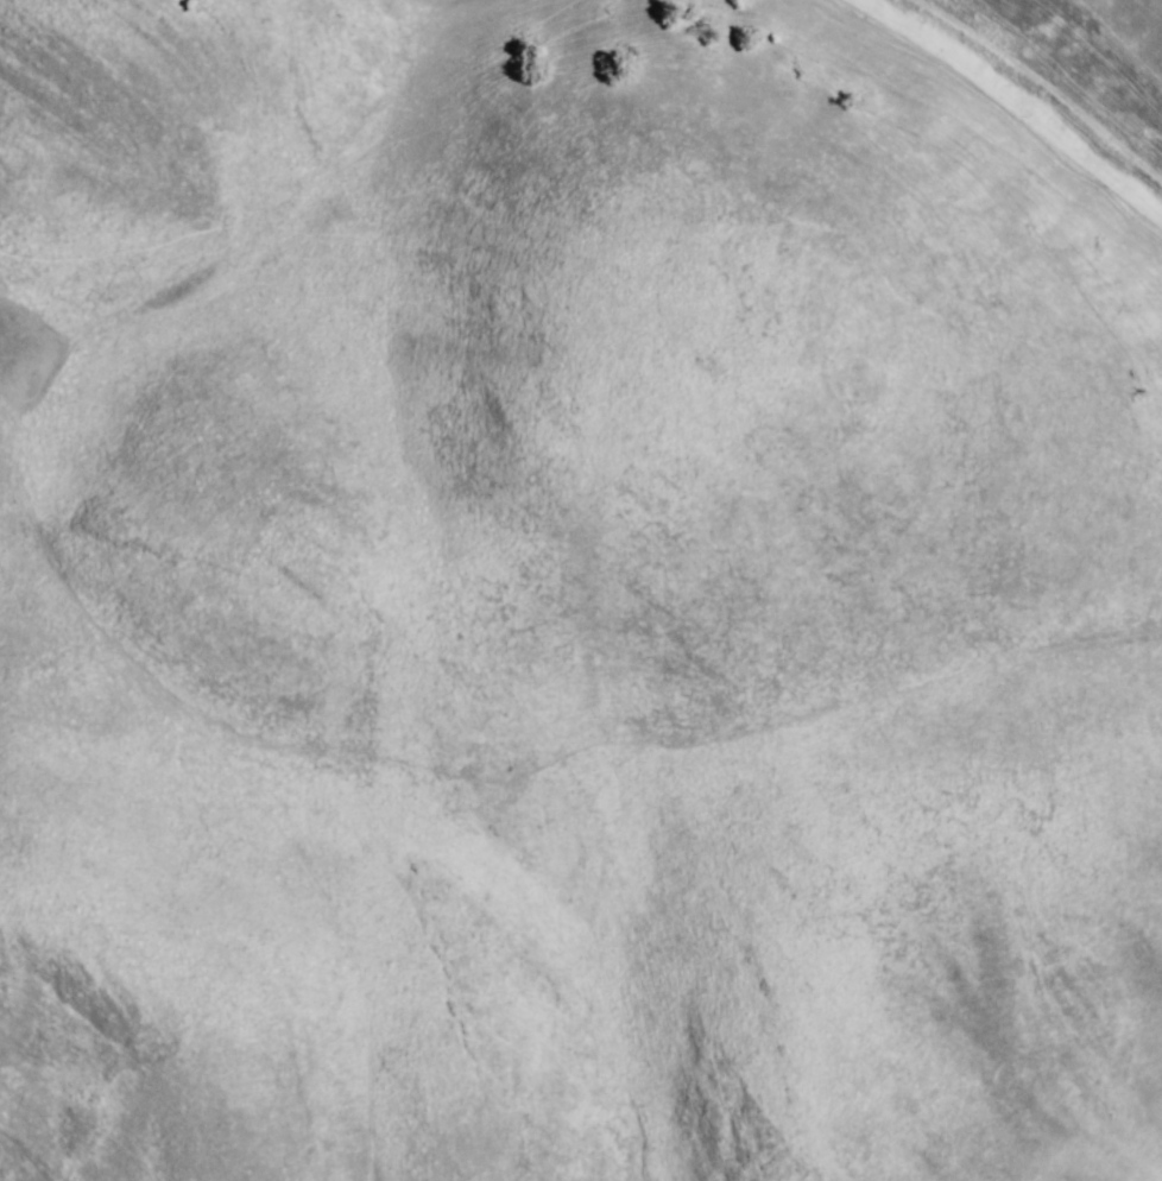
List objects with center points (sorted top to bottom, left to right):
road: (1038, 94)

